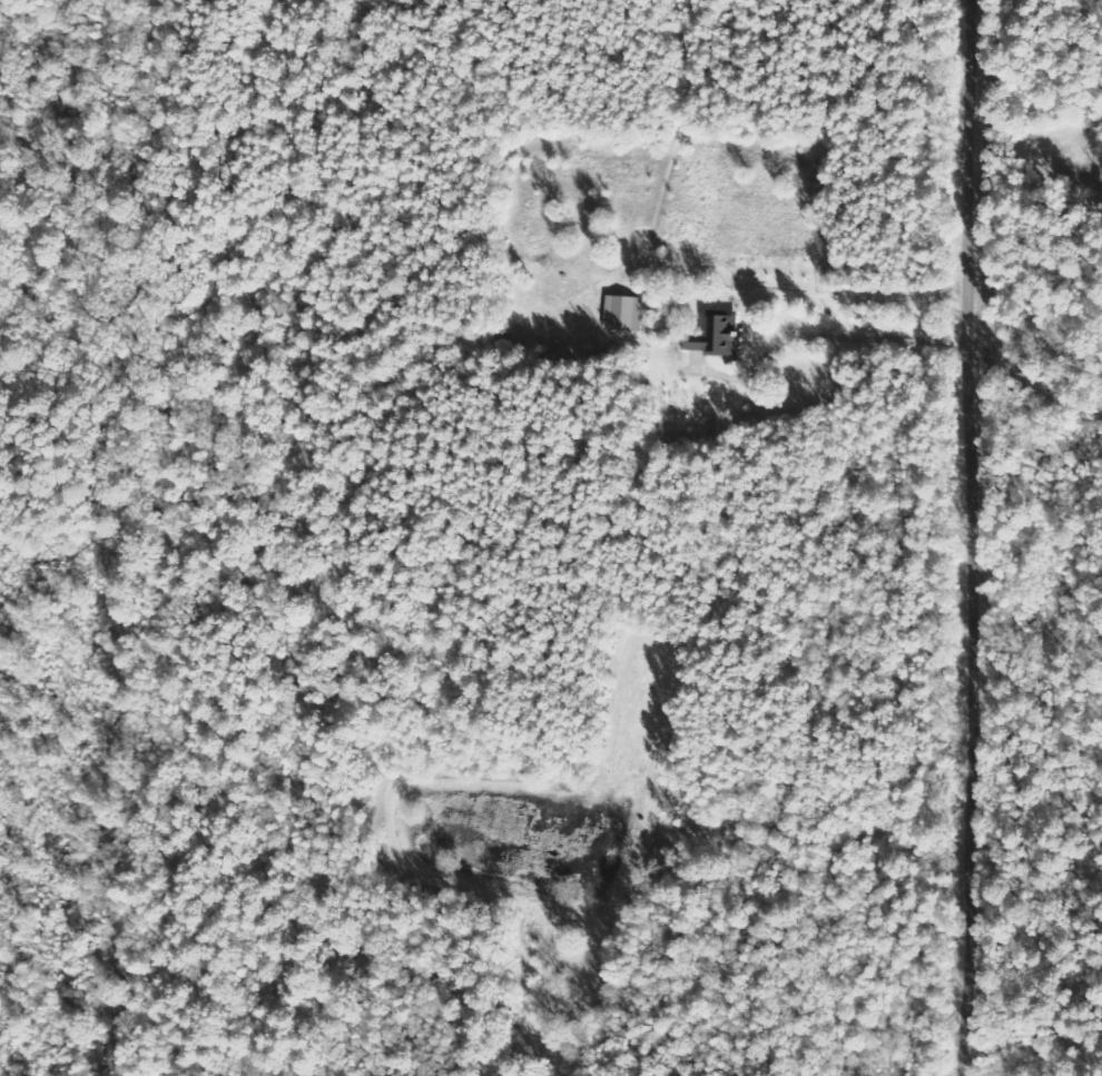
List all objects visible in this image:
building: (626, 313)
building: (719, 336)
road: (823, 336)
road: (962, 537)

